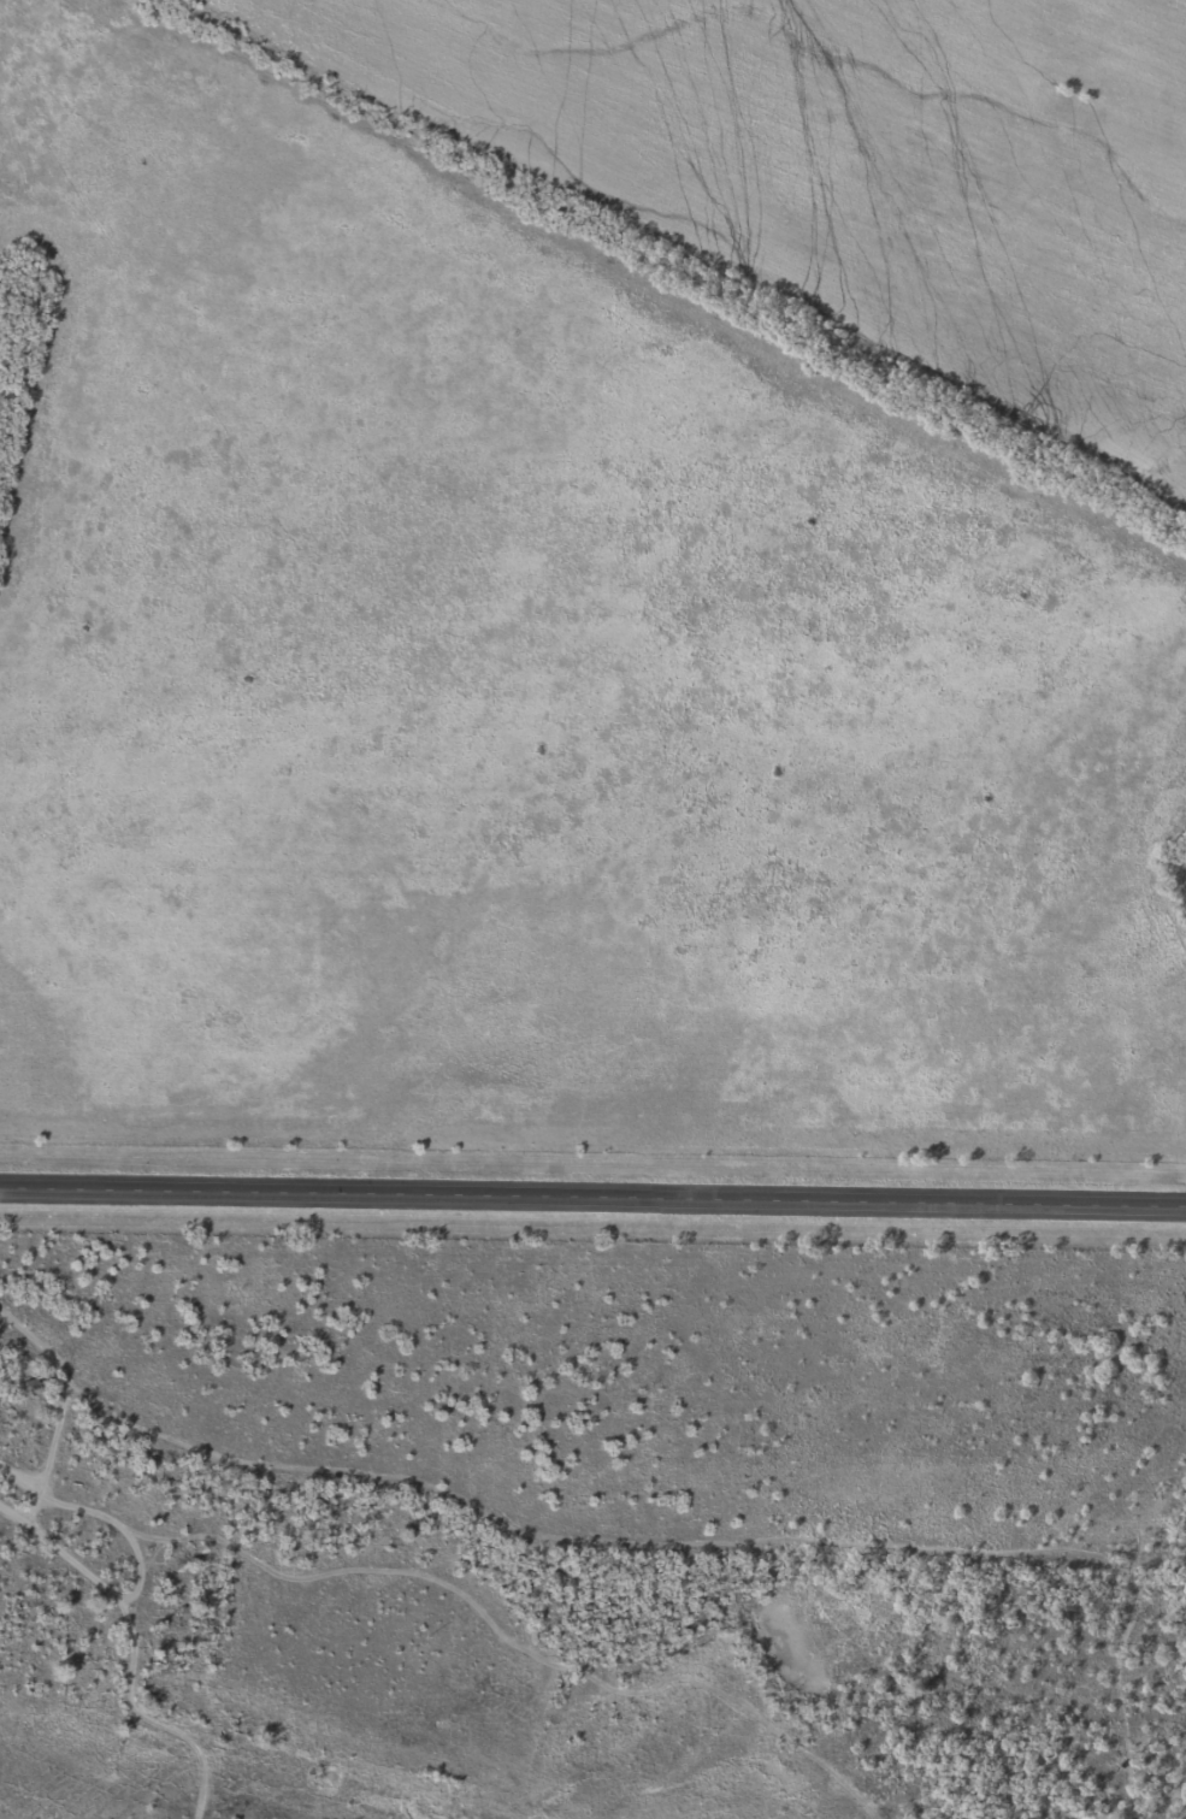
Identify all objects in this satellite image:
road: (592, 1199)
road: (63, 1634)

